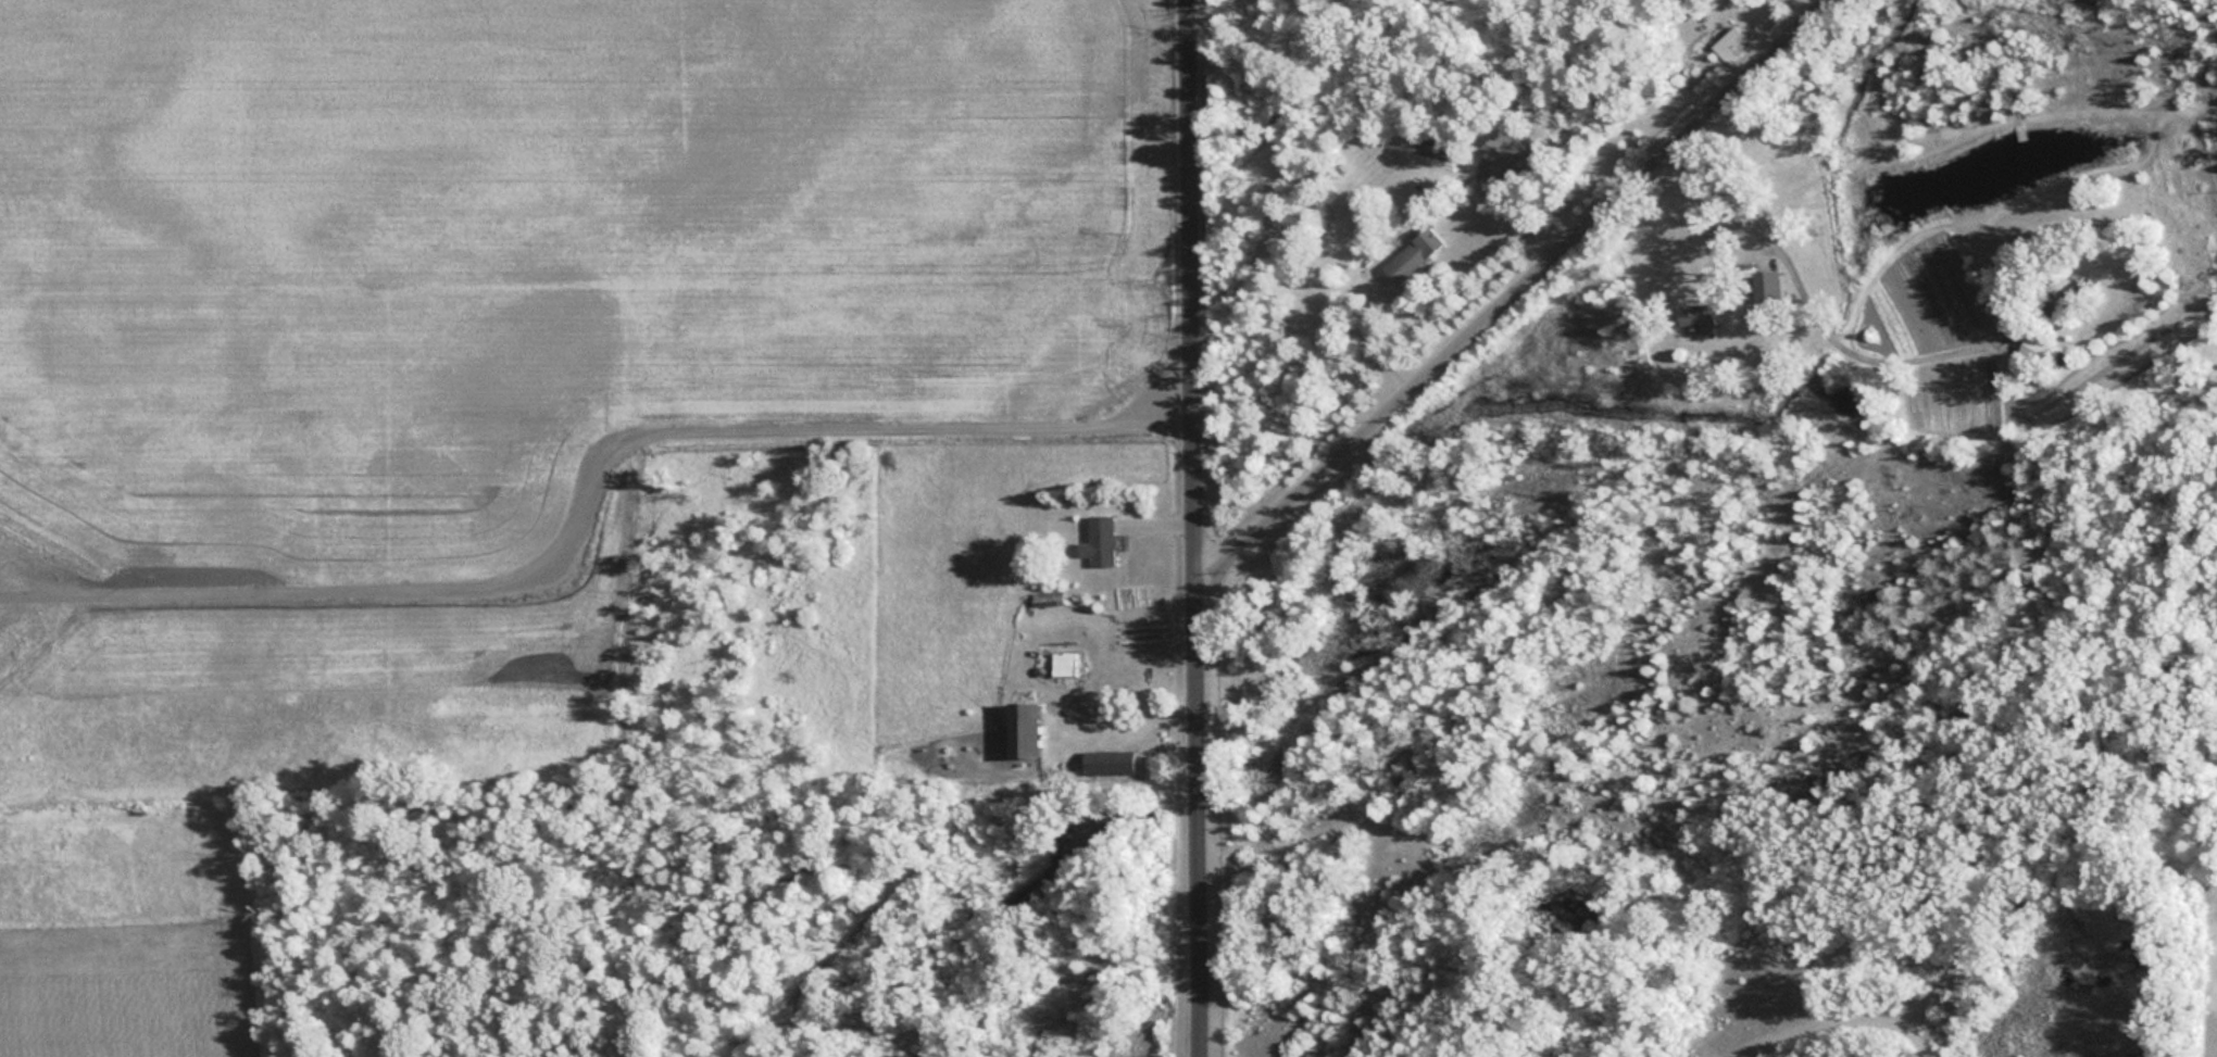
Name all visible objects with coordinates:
road: (2163, 29)
building: (1731, 43)
building: (1506, 154)
building: (1414, 254)
building: (1764, 286)
road: (1513, 293)
building: (2065, 297)
road: (1812, 300)
building: (1695, 315)
building: (2032, 348)
road: (1195, 528)
building: (1100, 539)
building: (1064, 663)
building: (1022, 729)
building: (1108, 762)
road: (2068, 867)
road: (1943, 1004)

